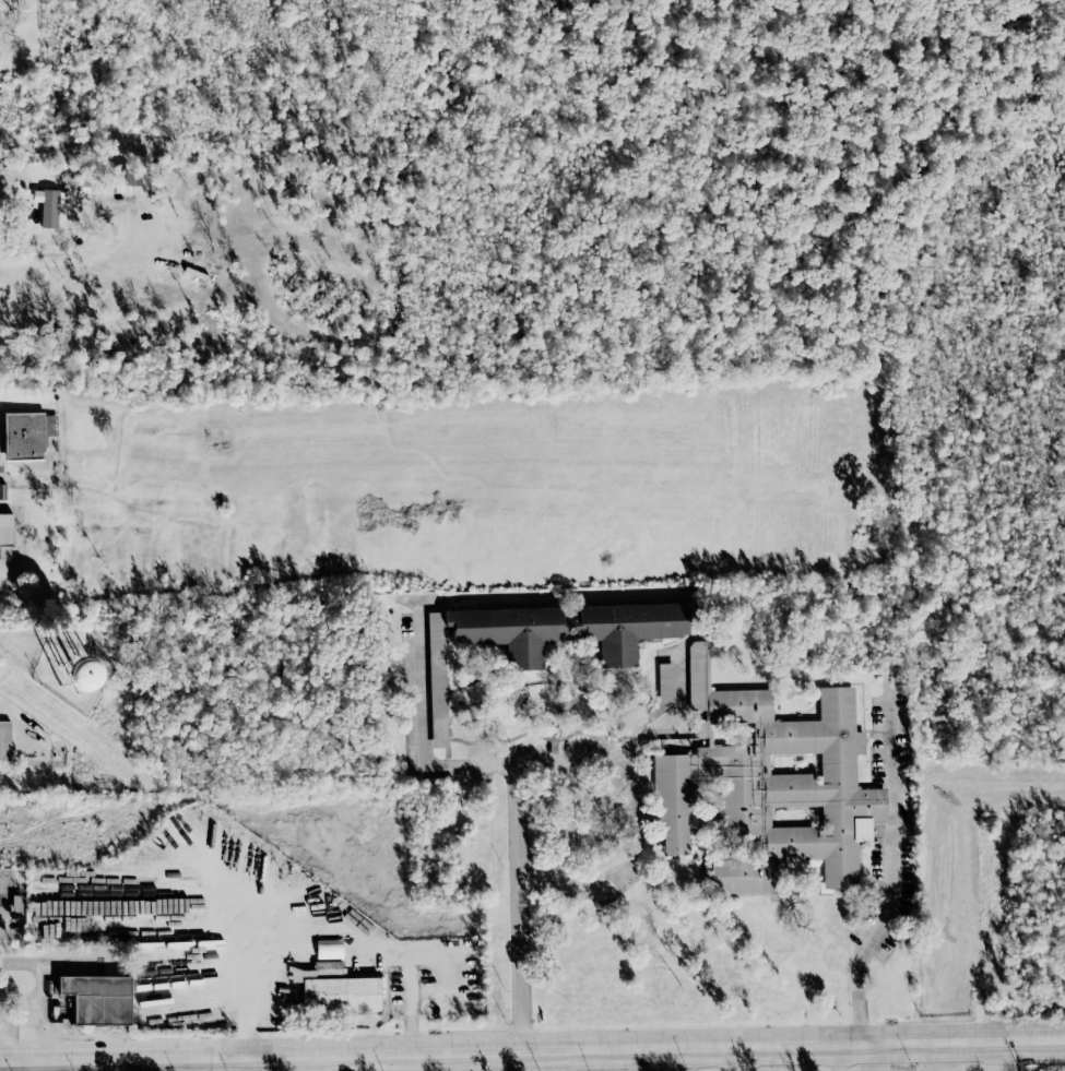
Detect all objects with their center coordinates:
building: (0, 0)
building: (125, 176)
building: (78, 187)
building: (48, 206)
road: (74, 259)
building: (27, 435)
building: (2, 490)
building: (5, 528)
building: (544, 639)
building: (75, 675)
building: (665, 682)
road: (422, 725)
building: (4, 740)
road: (632, 748)
road: (627, 782)
building: (769, 784)
road: (636, 817)
road: (587, 872)
road: (894, 881)
road: (516, 906)
road: (271, 923)
building: (329, 949)
building: (336, 988)
building: (98, 999)
road: (410, 1011)
road: (532, 1050)
road: (840, 1058)

